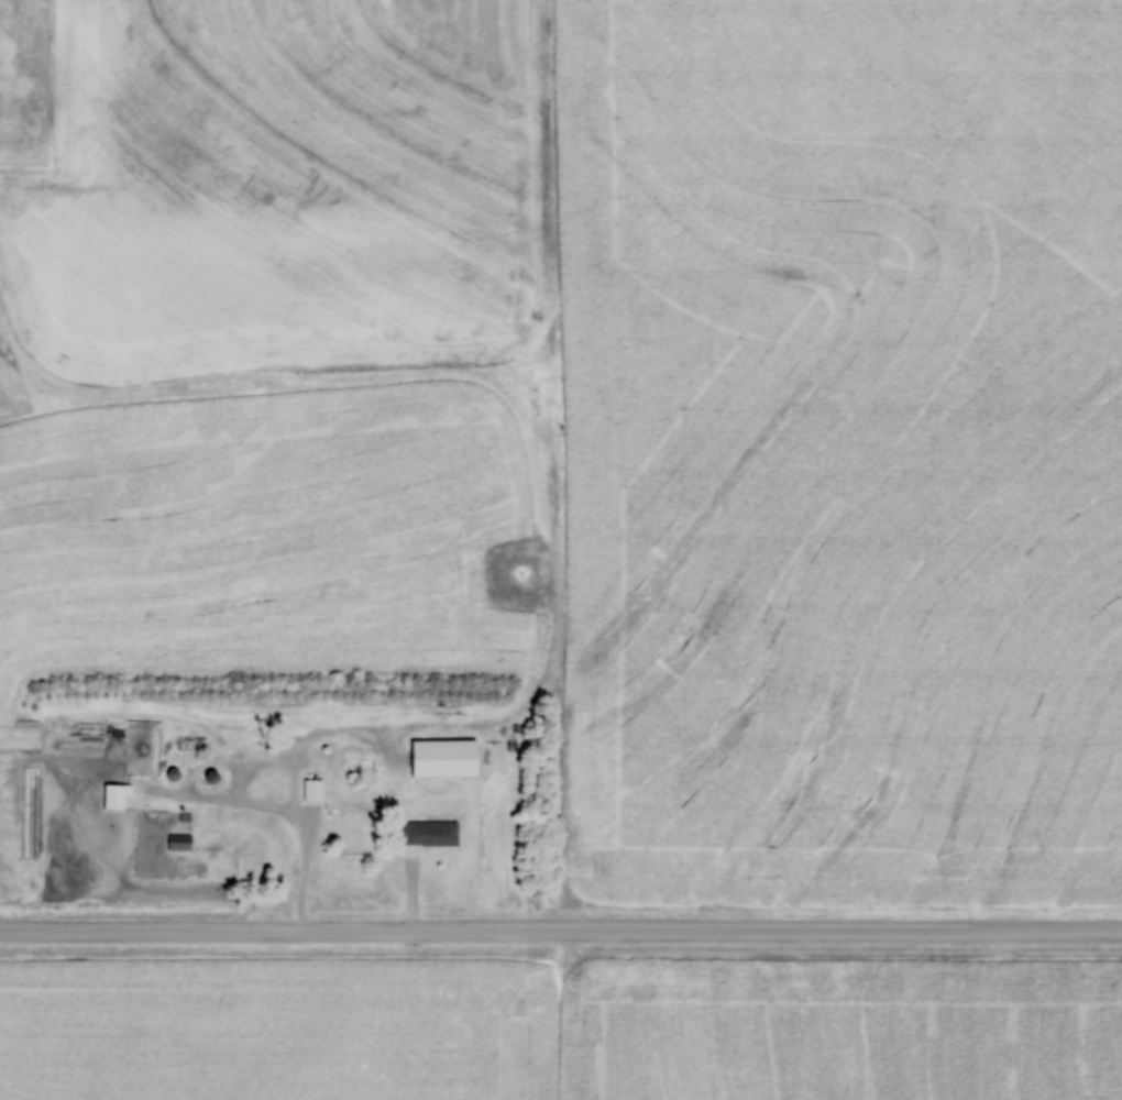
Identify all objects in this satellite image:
building: (442, 758)
building: (311, 791)
building: (114, 795)
road: (288, 815)
building: (429, 834)
building: (178, 843)
road: (560, 933)

